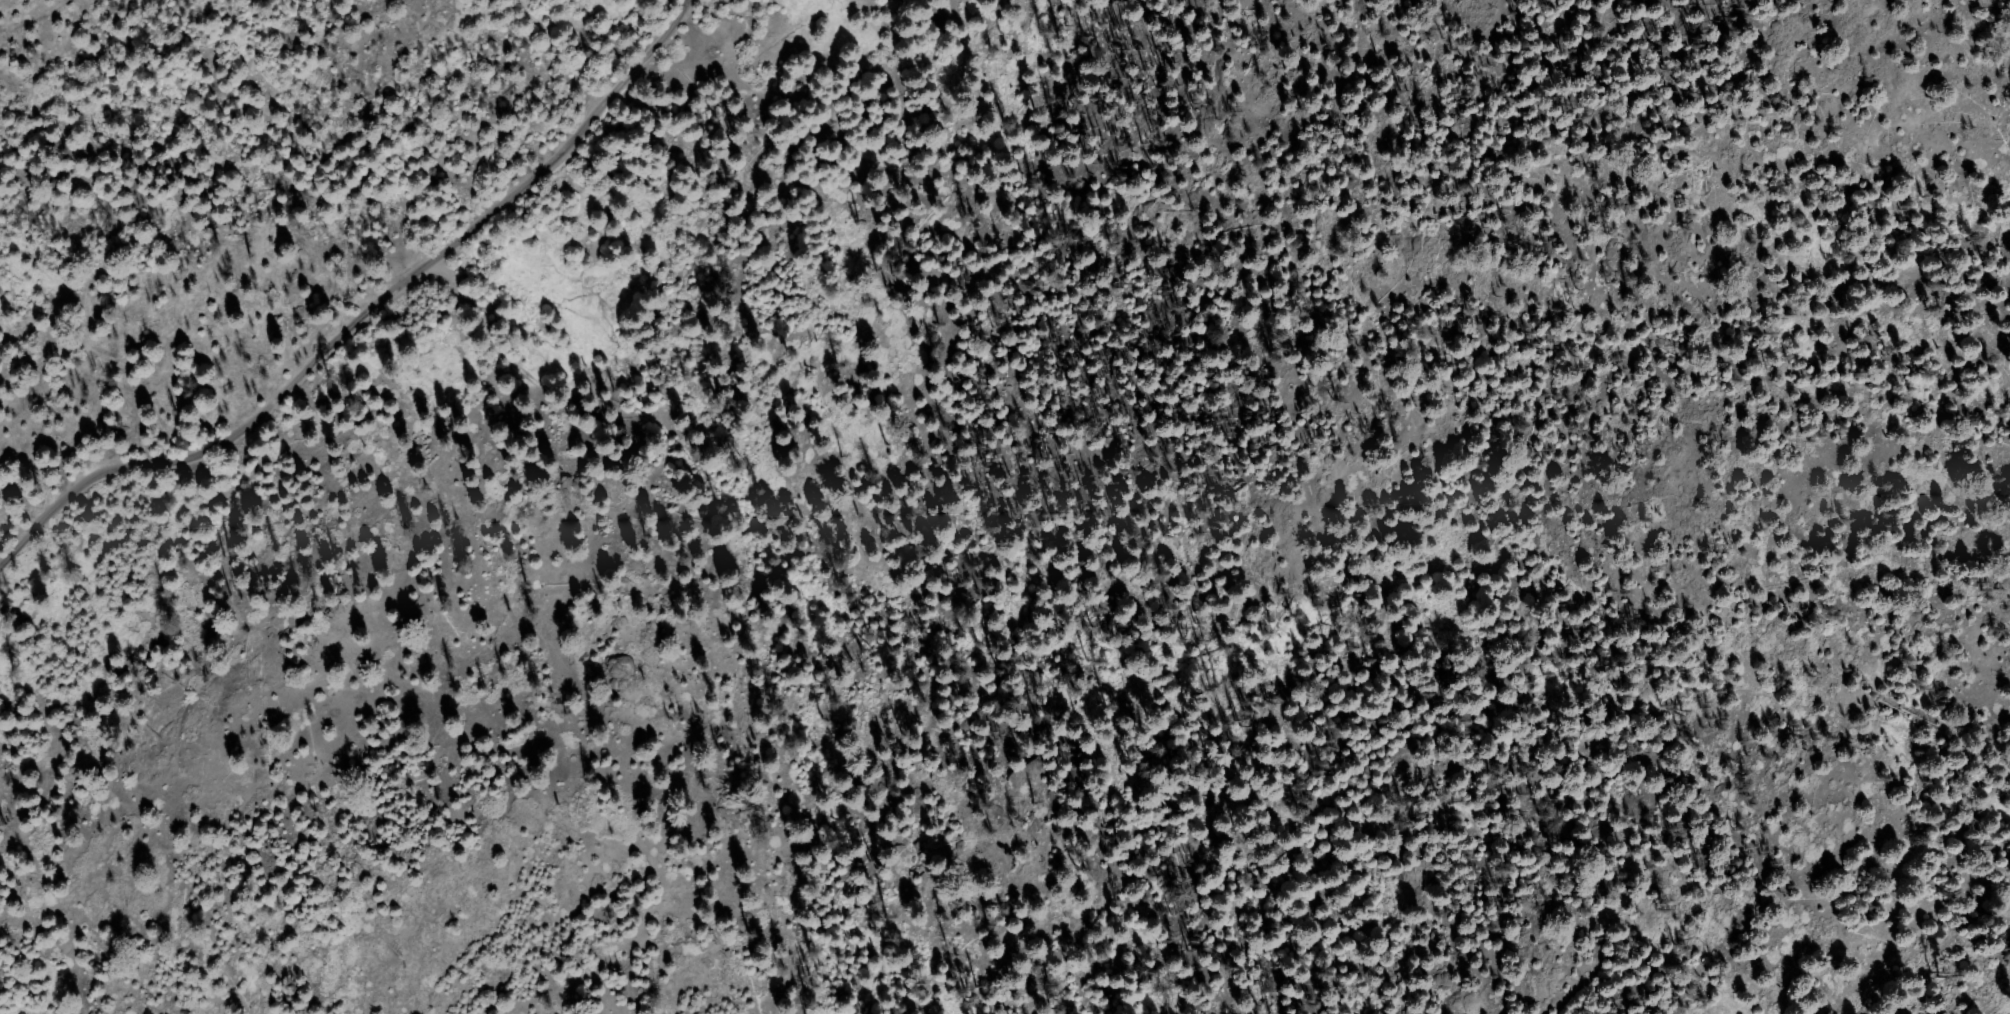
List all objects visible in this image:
road: (369, 313)

